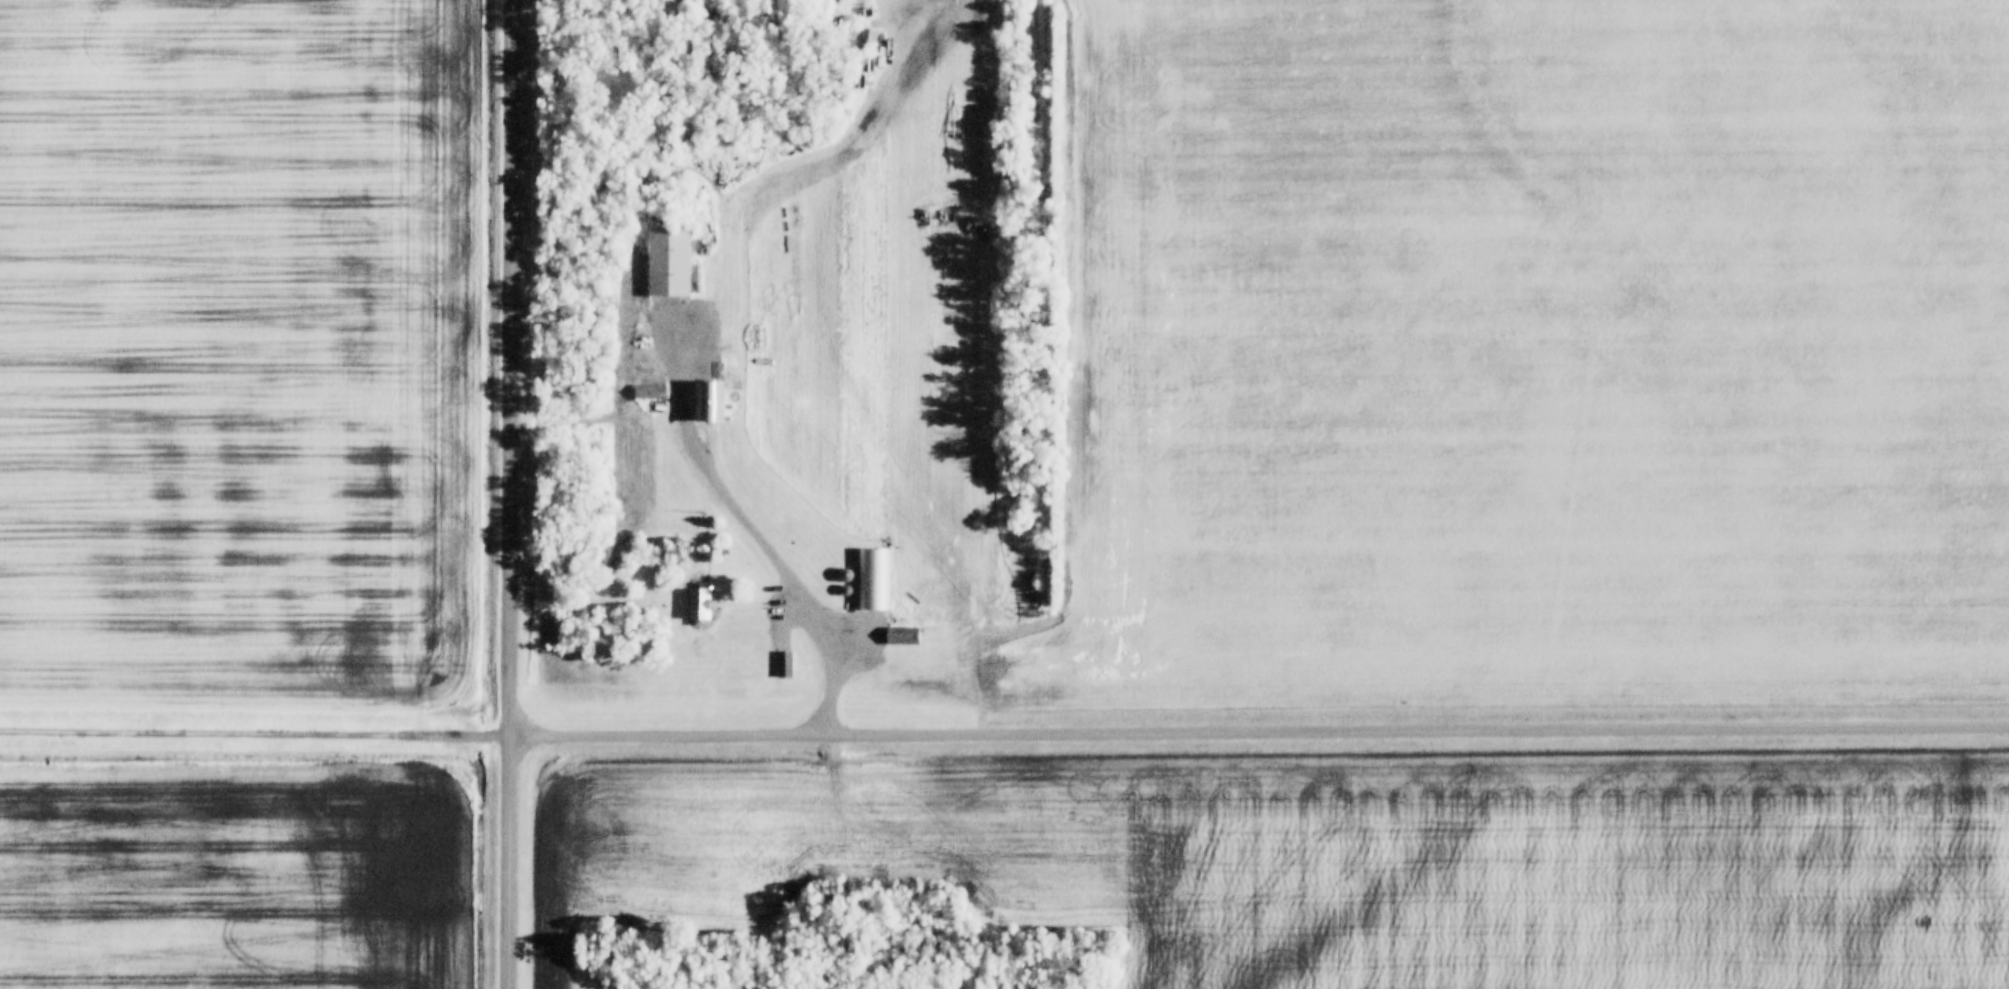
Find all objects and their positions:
building: (683, 262)
road: (509, 494)
road: (750, 518)
road: (1257, 731)
road: (253, 736)

